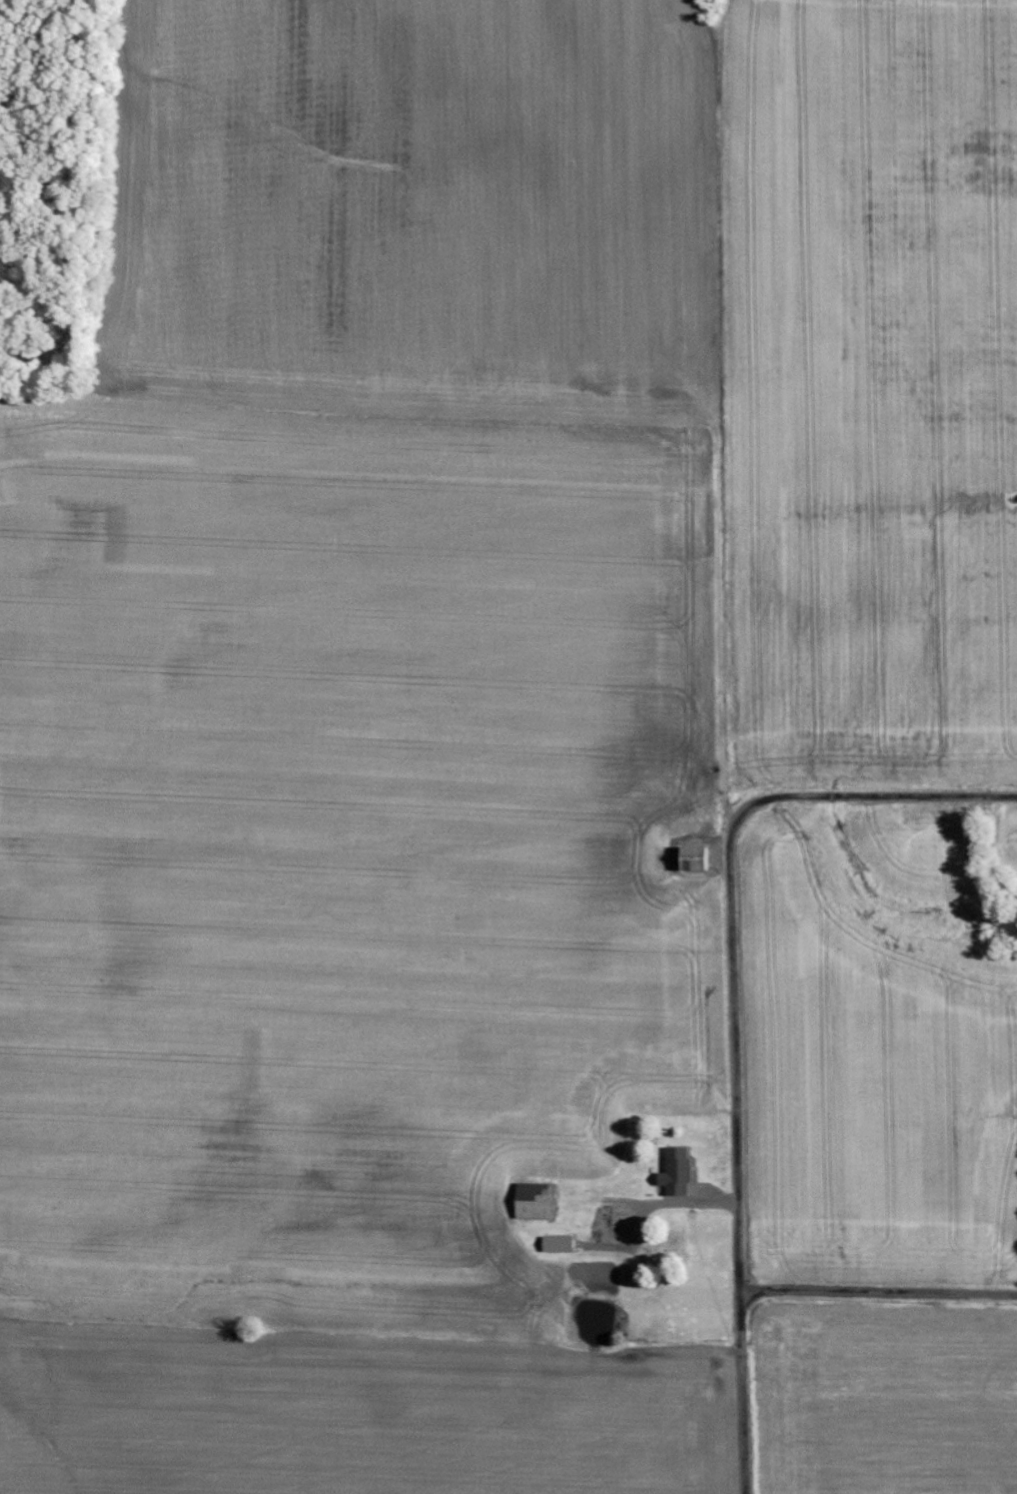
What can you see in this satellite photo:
building: (695, 859)
road: (732, 1012)
building: (677, 1172)
building: (537, 1202)
building: (559, 1245)
road: (877, 1292)

